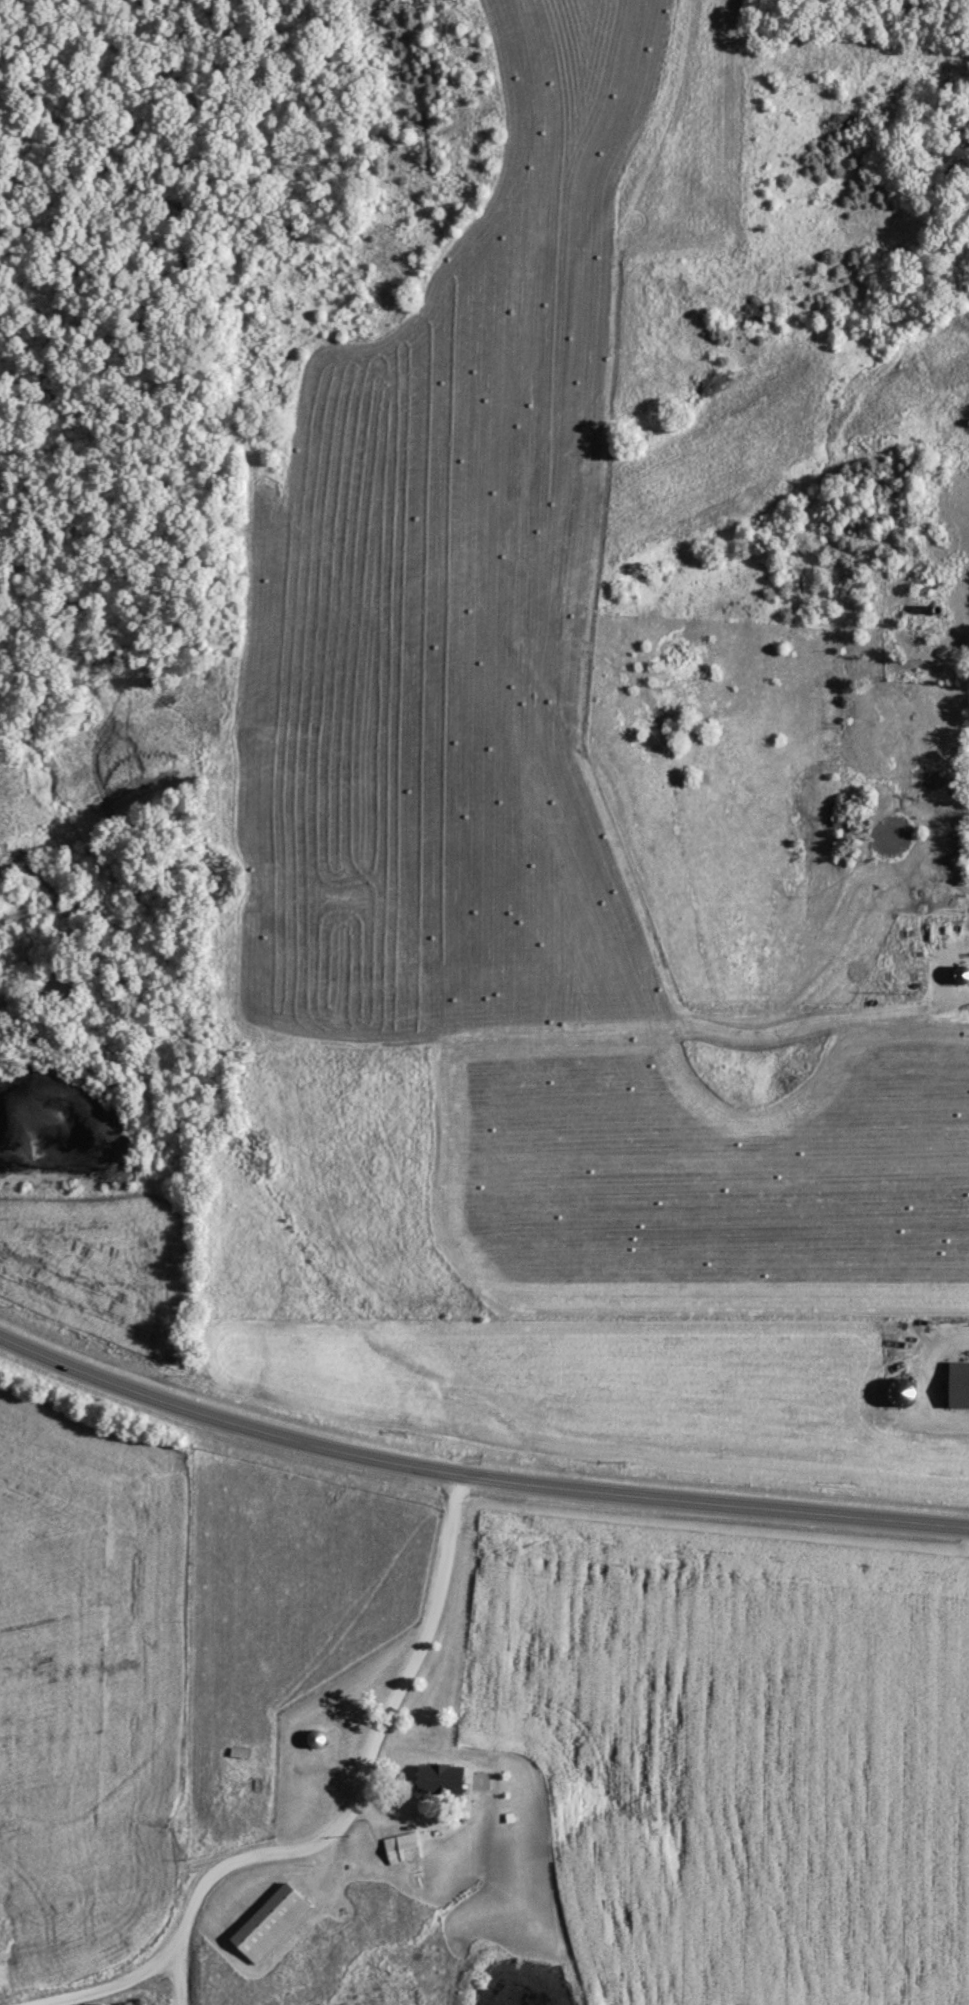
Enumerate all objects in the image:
building: (960, 1384)
road: (475, 1474)
road: (369, 1758)
building: (446, 1777)
building: (405, 1846)
building: (273, 1922)
road: (183, 1977)
road: (109, 1986)

